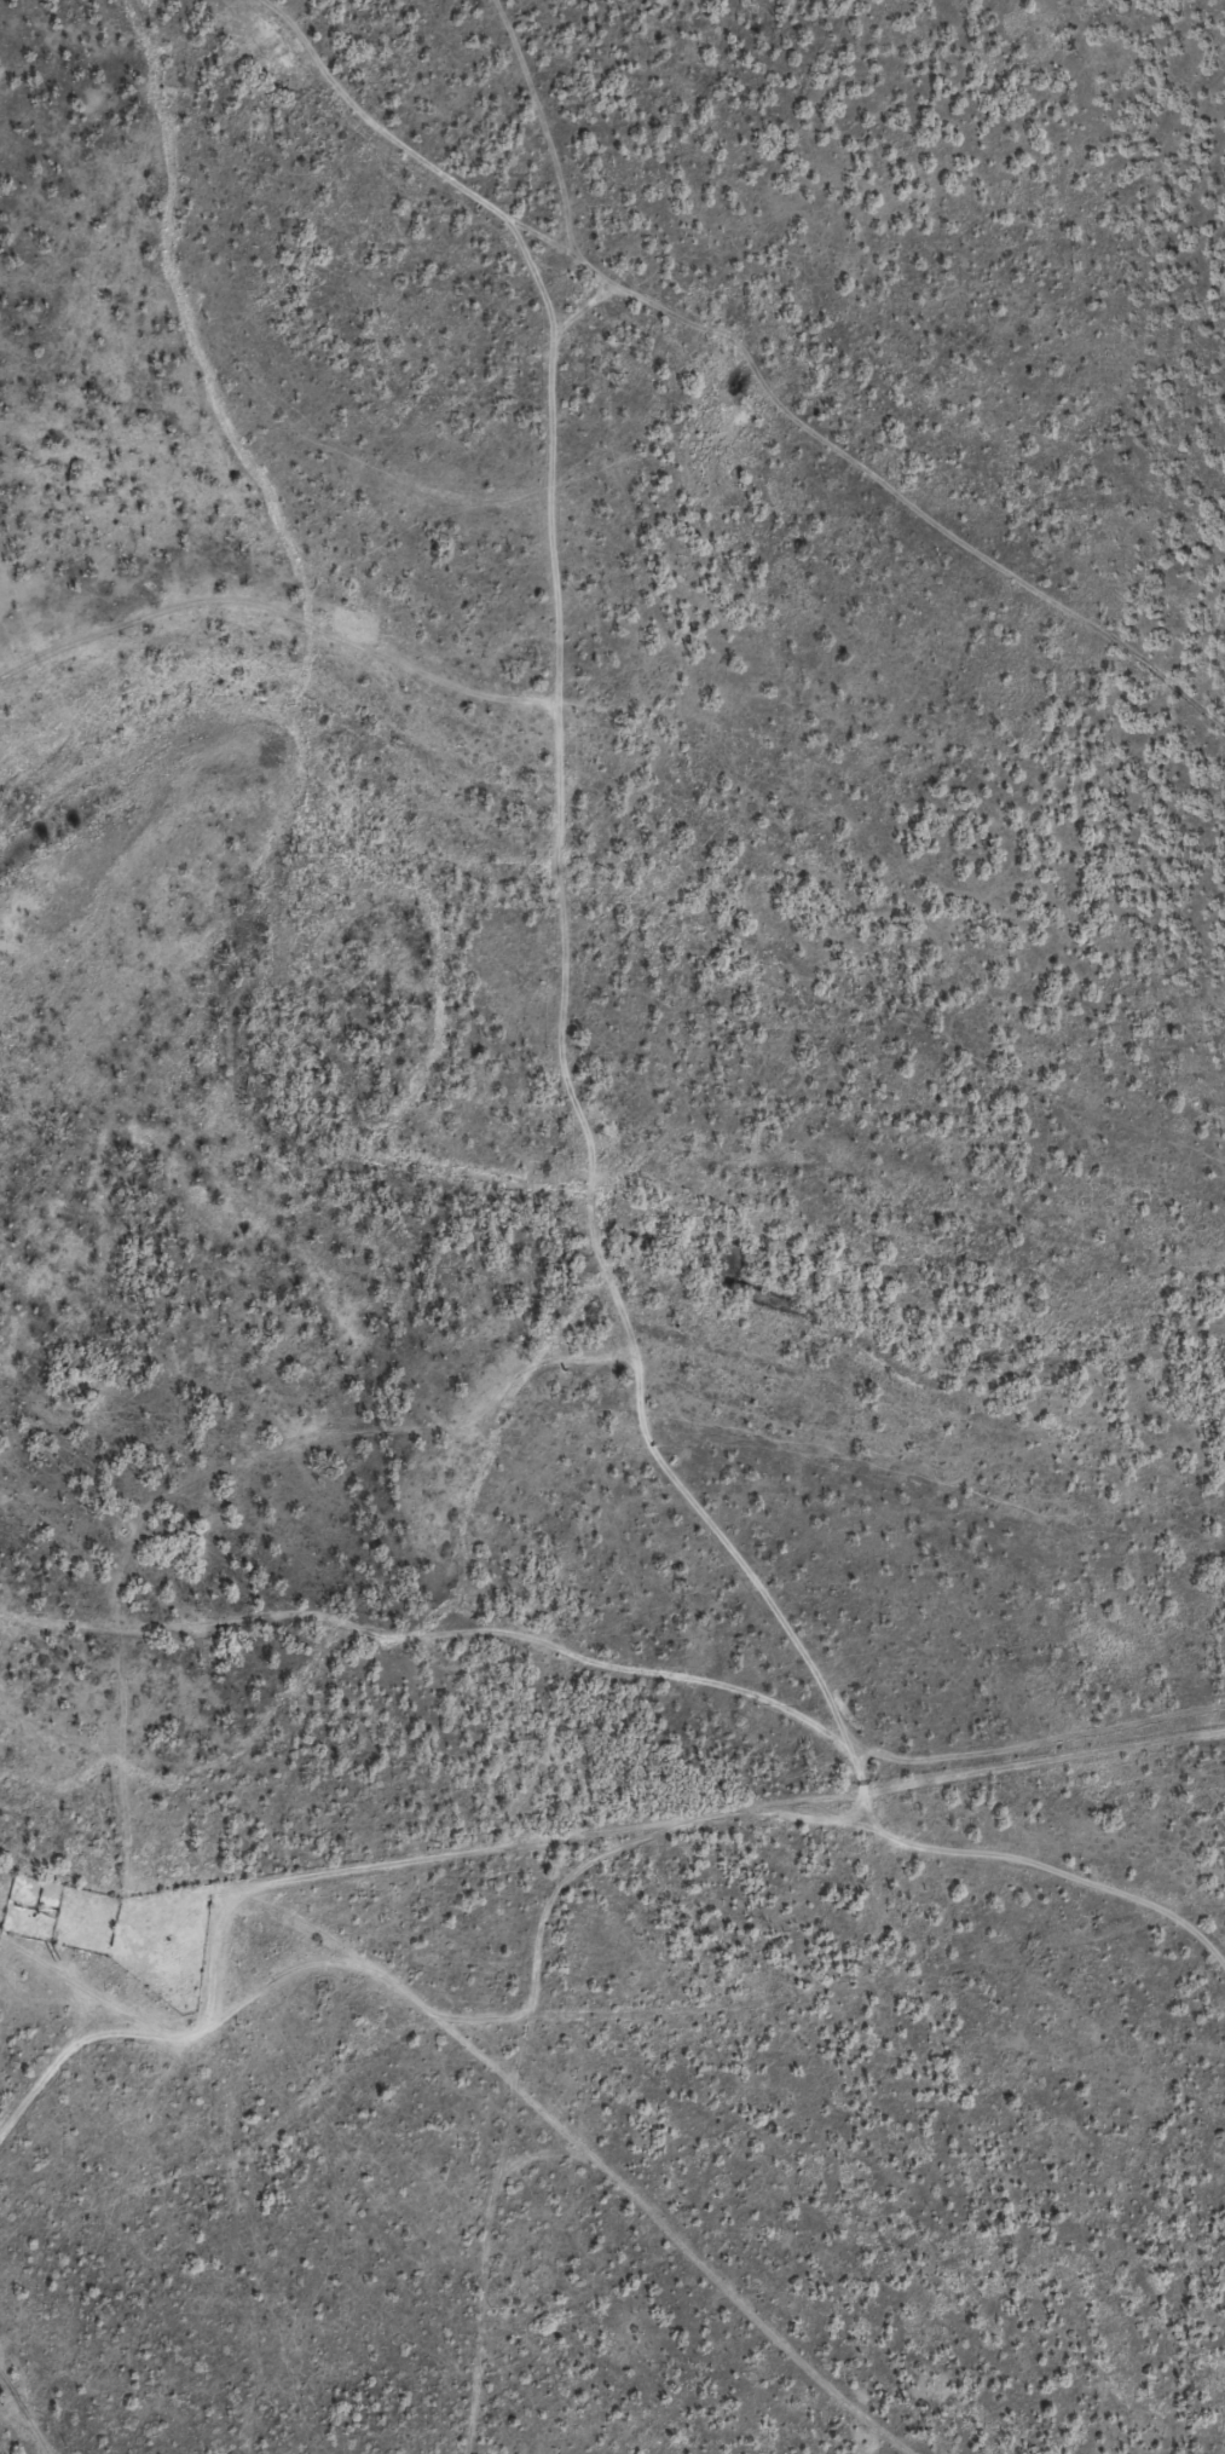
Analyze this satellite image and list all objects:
road: (568, 1085)
road: (418, 1977)
road: (767, 1993)

